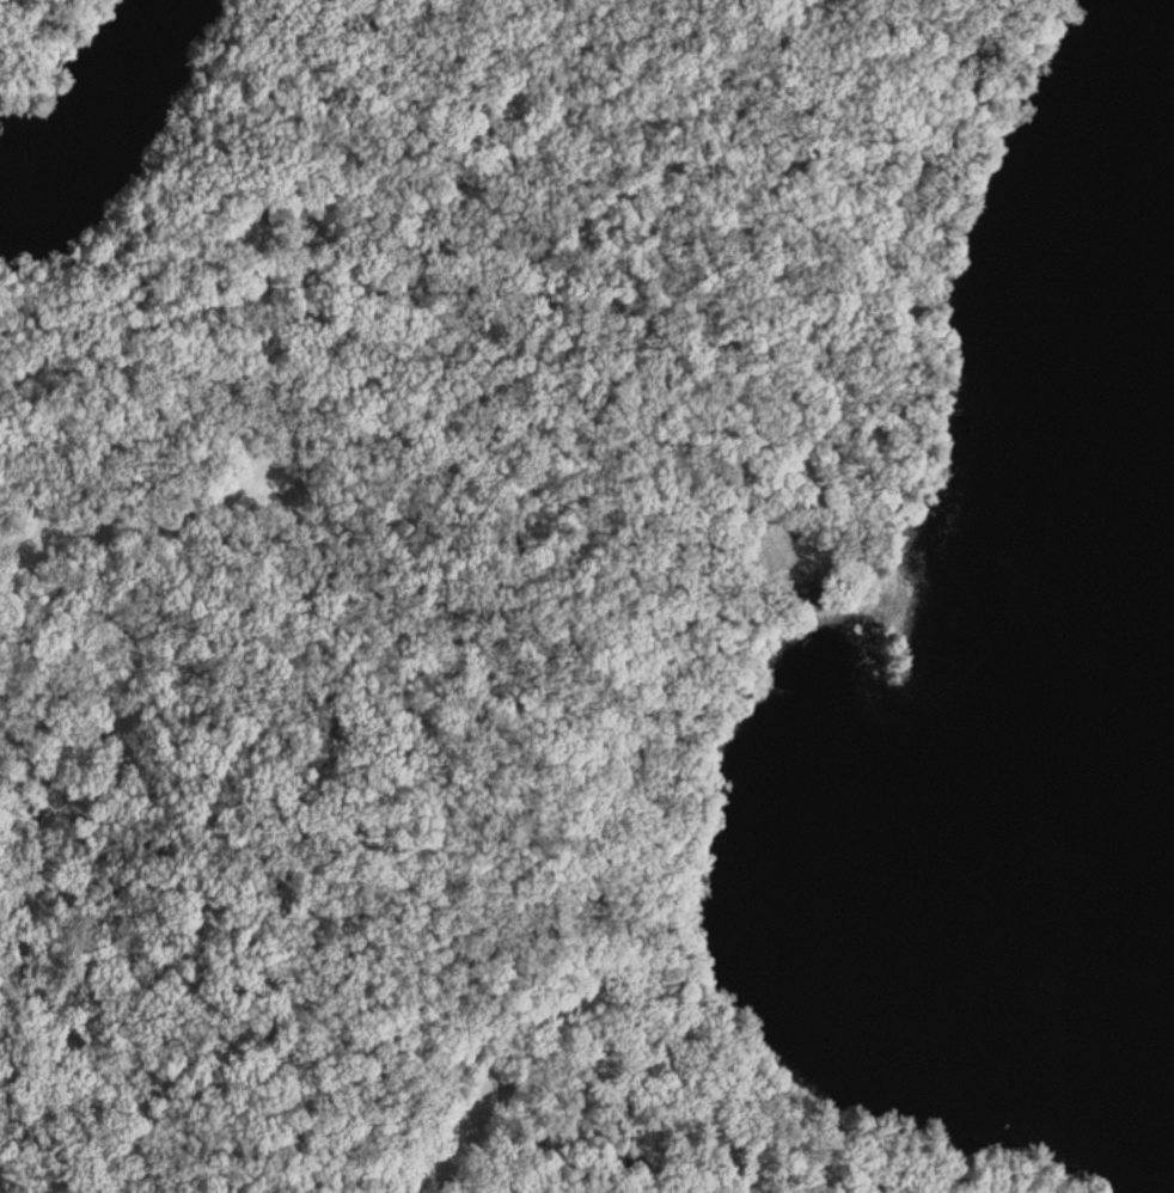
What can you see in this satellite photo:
road: (23, 30)
building: (974, 65)
road: (669, 159)
building: (277, 206)
road: (642, 331)
road: (97, 402)
road: (624, 611)
road: (603, 981)
parking lot: (470, 1120)

